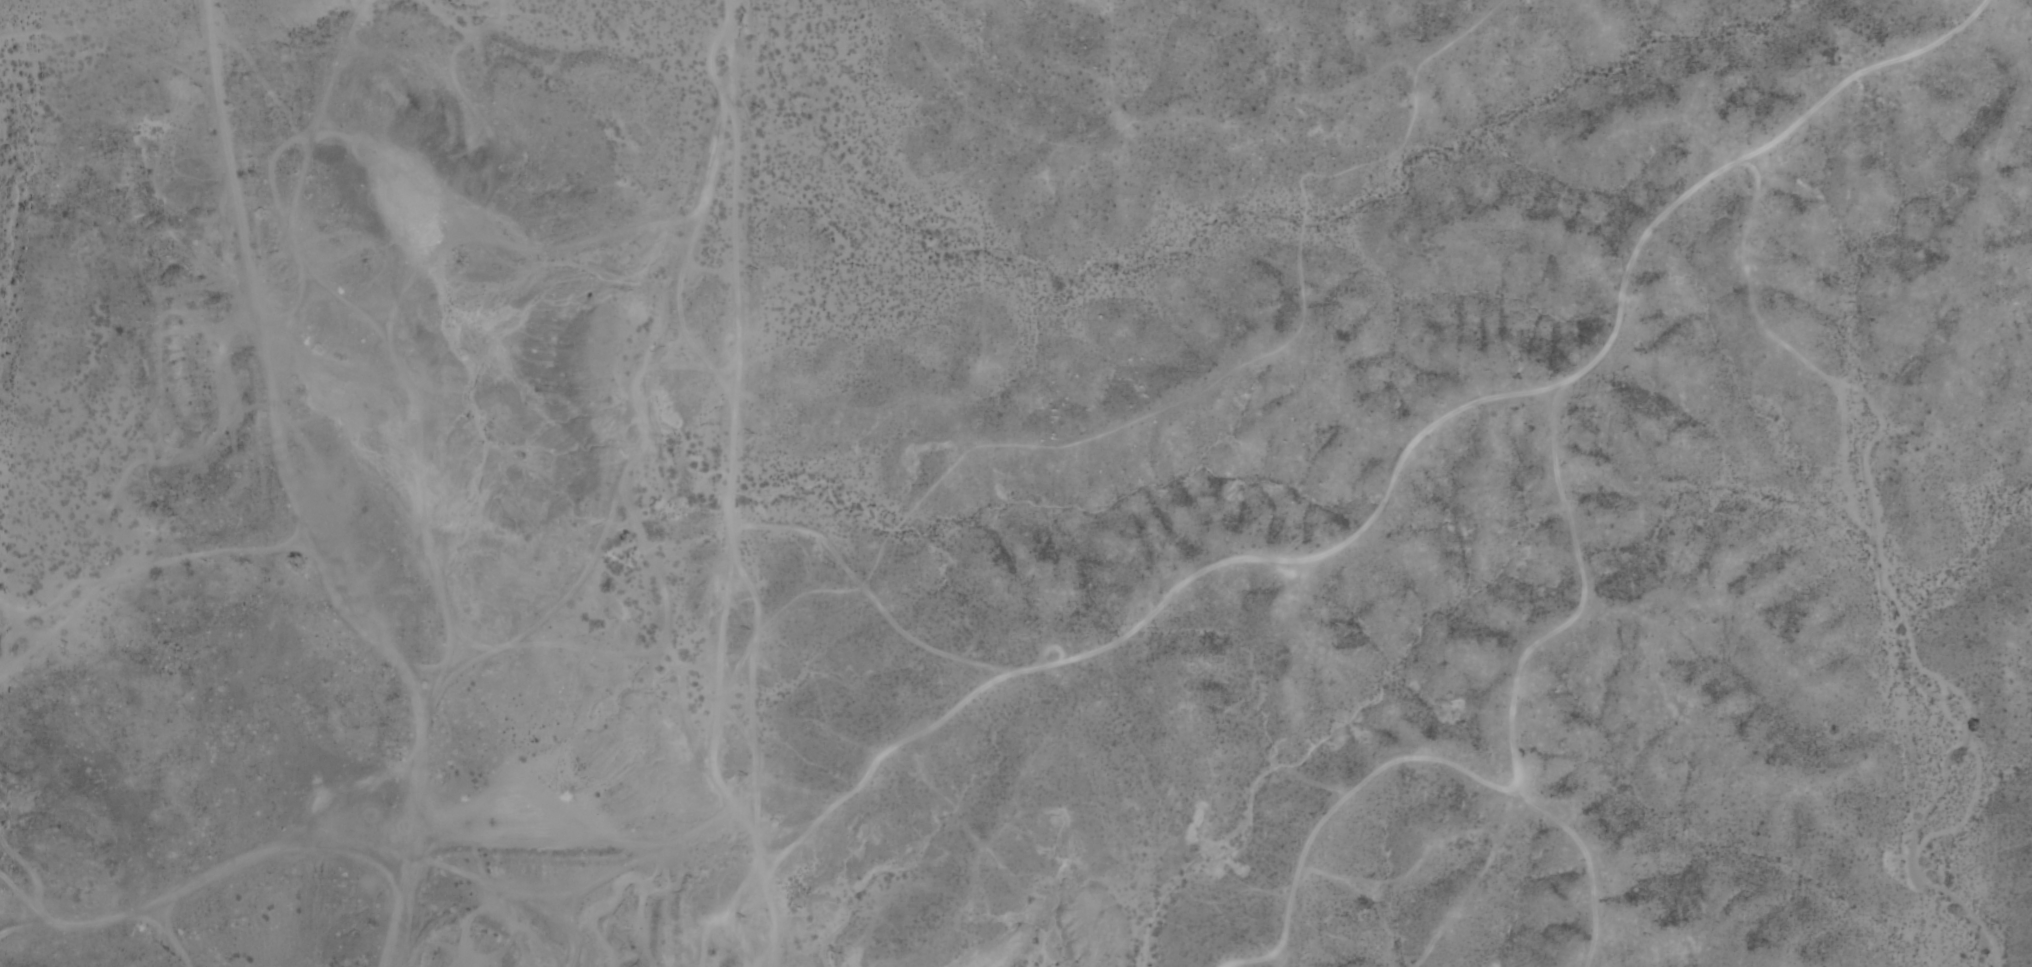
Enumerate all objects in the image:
road: (1395, 468)
road: (733, 489)
road: (242, 855)

